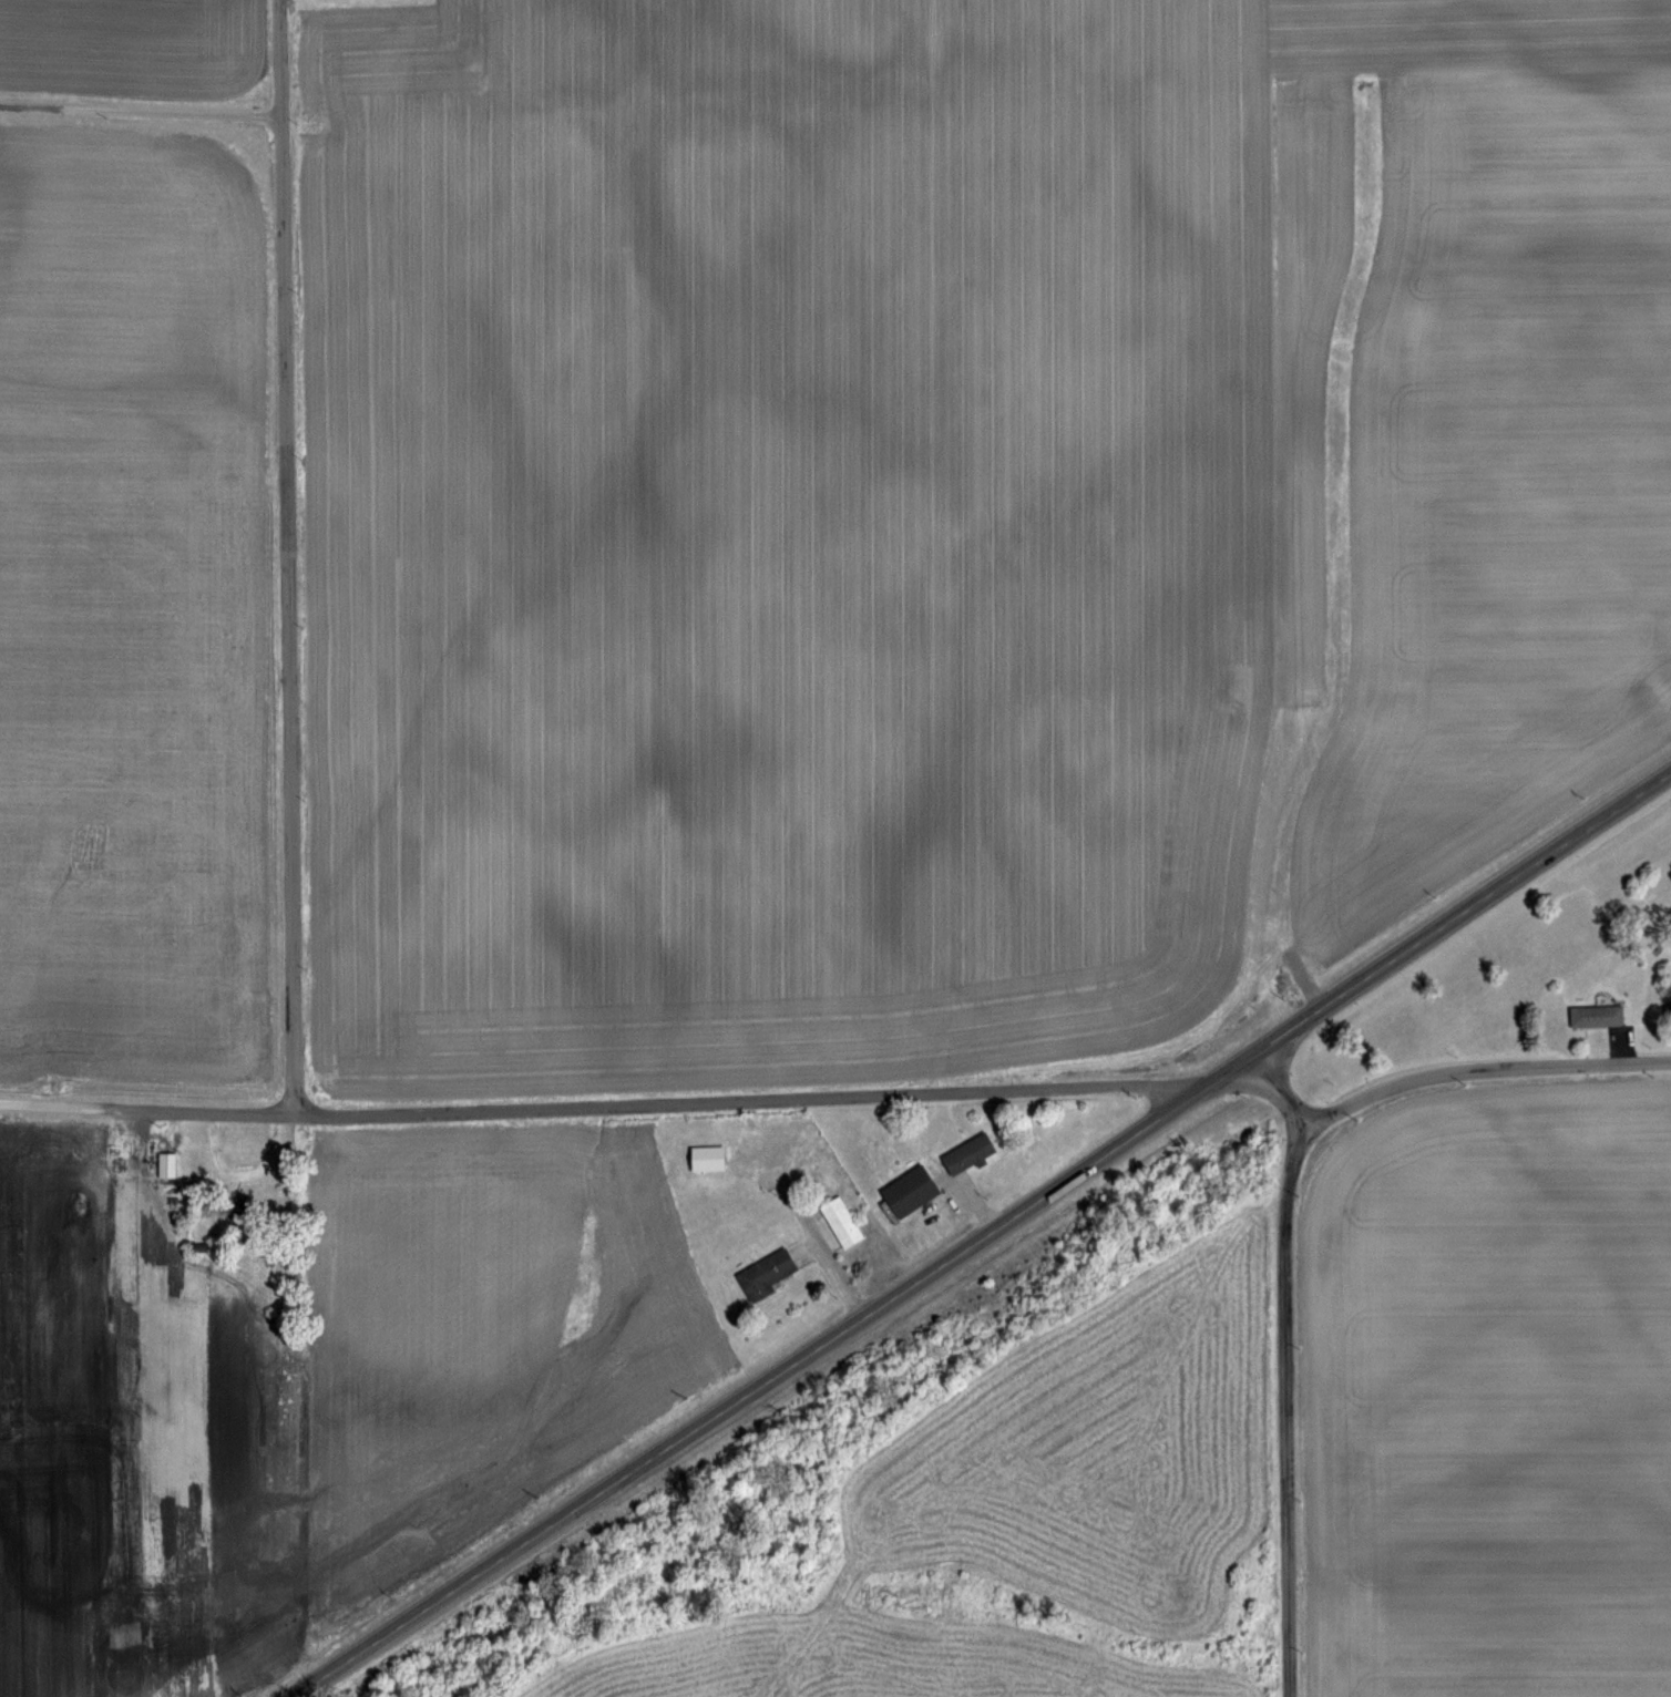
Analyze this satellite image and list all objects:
road: (142, 109)
crop: (972, 515)
crop: (162, 534)
road: (287, 556)
building: (1591, 1015)
road: (1485, 1070)
road: (1271, 1084)
road: (609, 1105)
building: (963, 1150)
building: (700, 1155)
building: (161, 1162)
building: (168, 1165)
building: (901, 1190)
road: (973, 1204)
building: (835, 1218)
road: (982, 1236)
building: (760, 1269)
road: (829, 1274)
crop: (1488, 1296)
crop: (637, 1384)
road: (1289, 1407)

